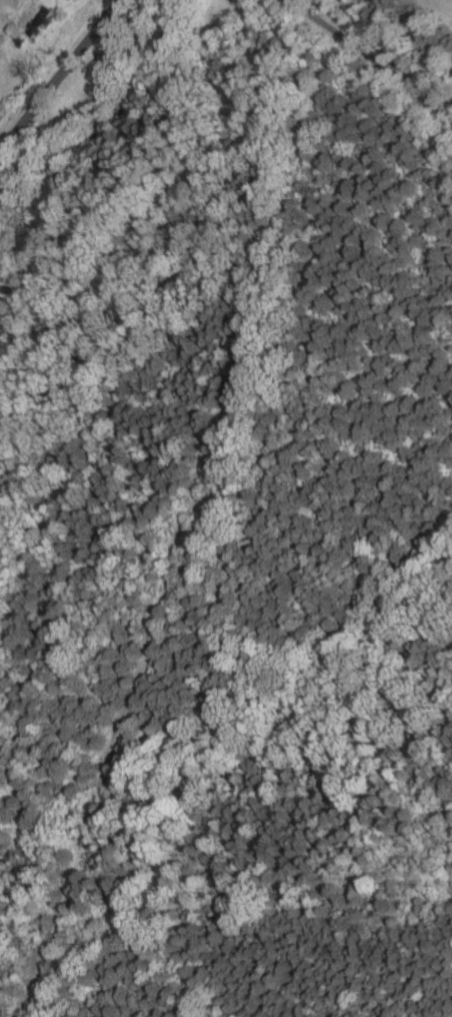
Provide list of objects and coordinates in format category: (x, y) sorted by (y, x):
building: (41, 22)
building: (20, 40)
road: (373, 58)
road: (58, 74)

